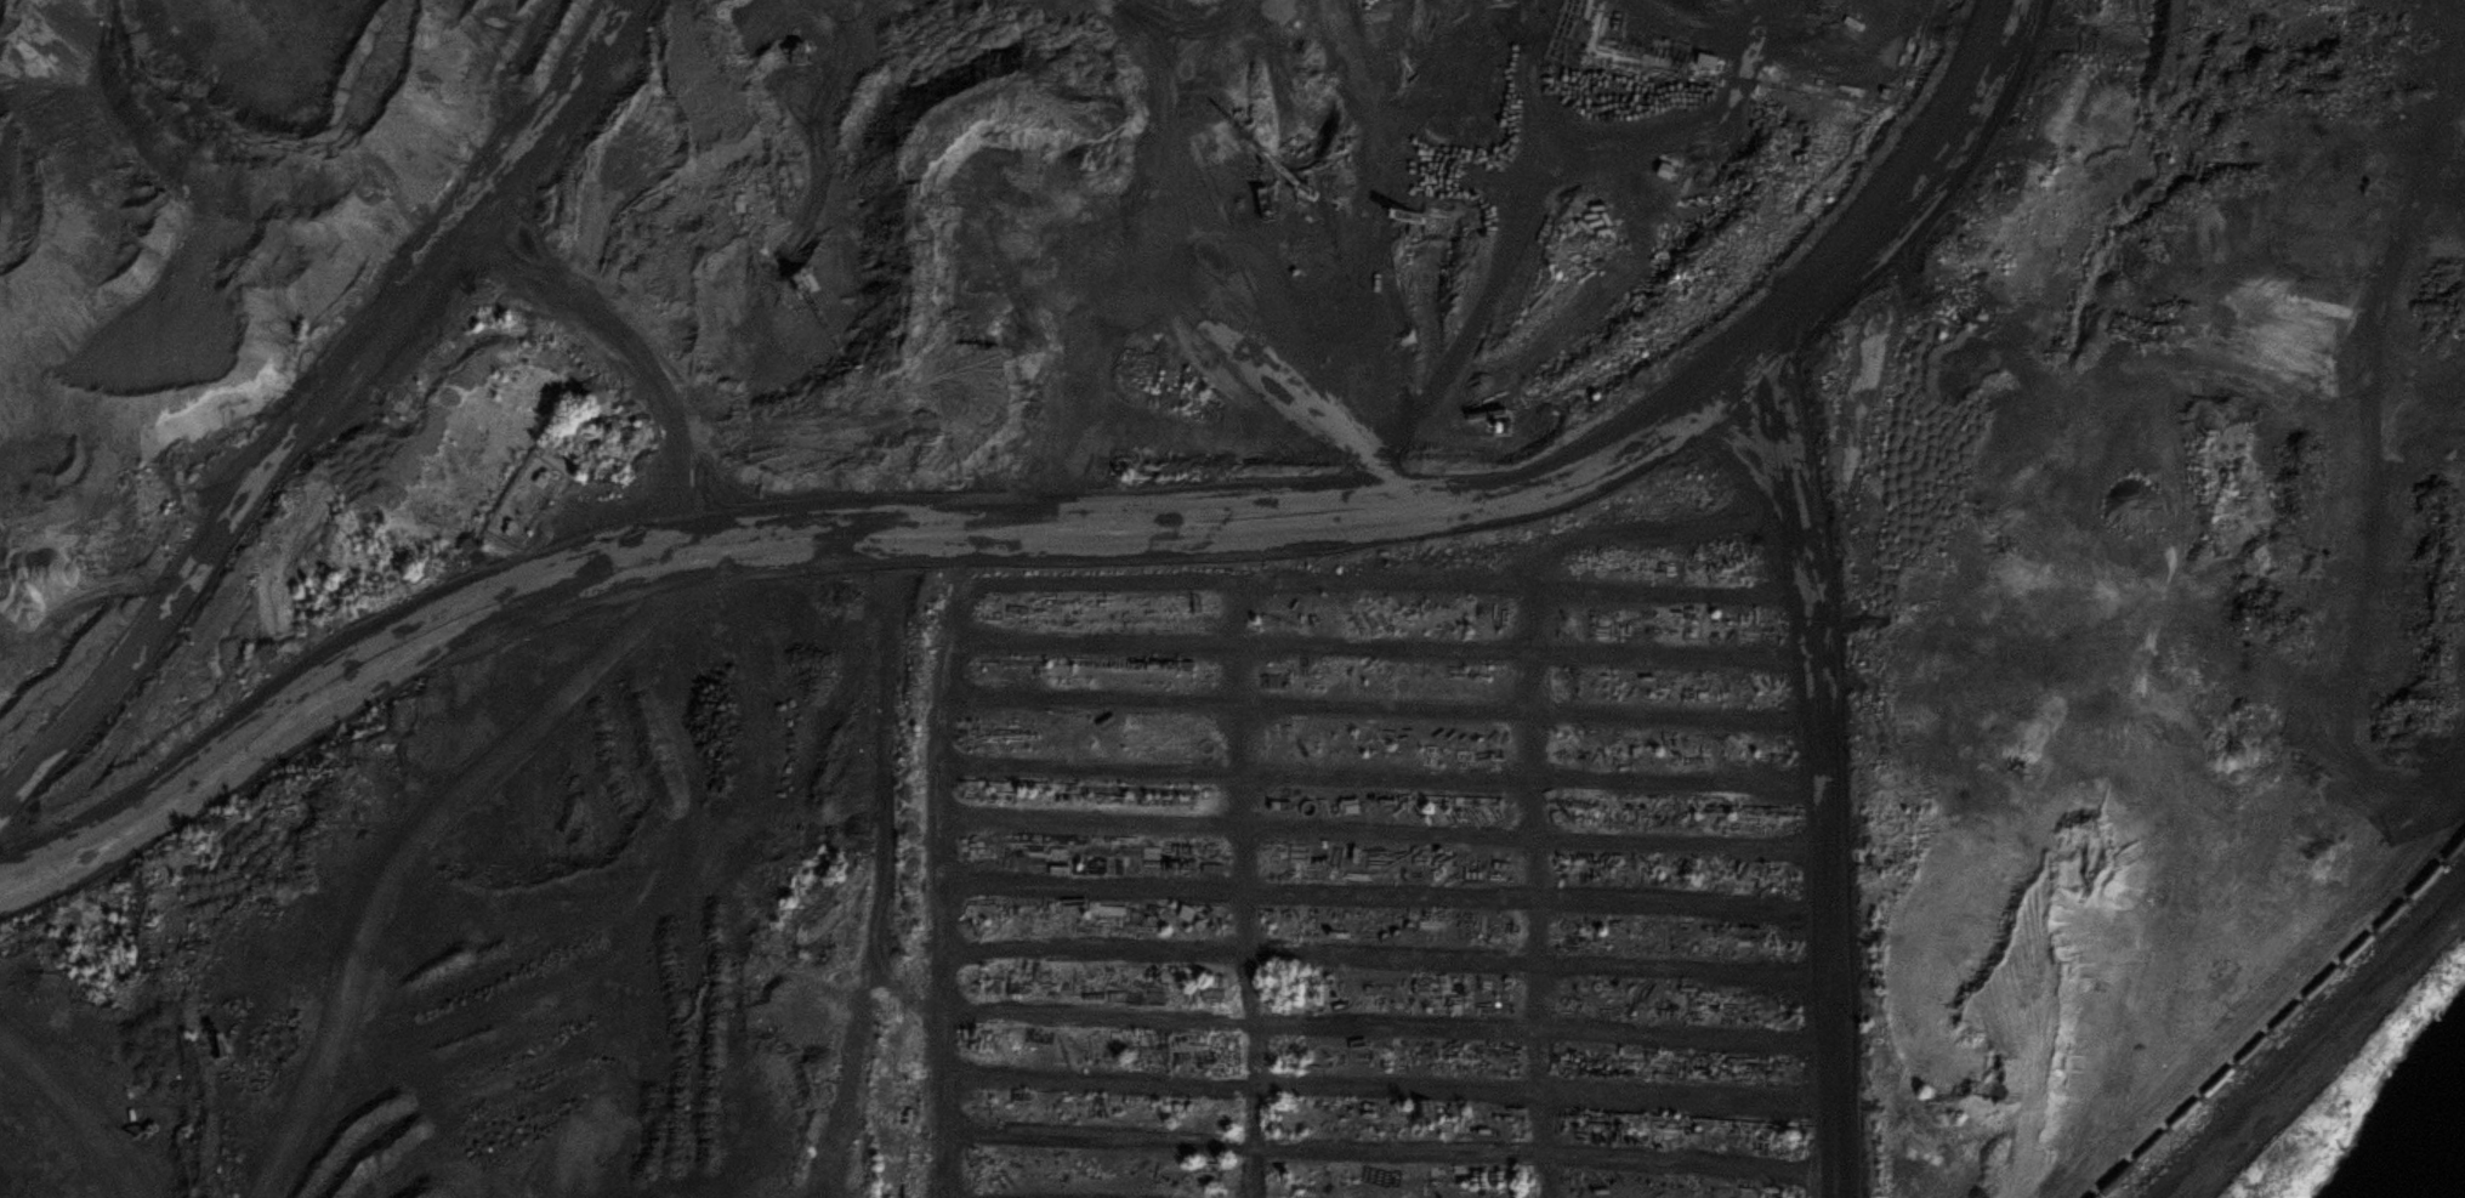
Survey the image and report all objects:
railway: (2285, 1022)

